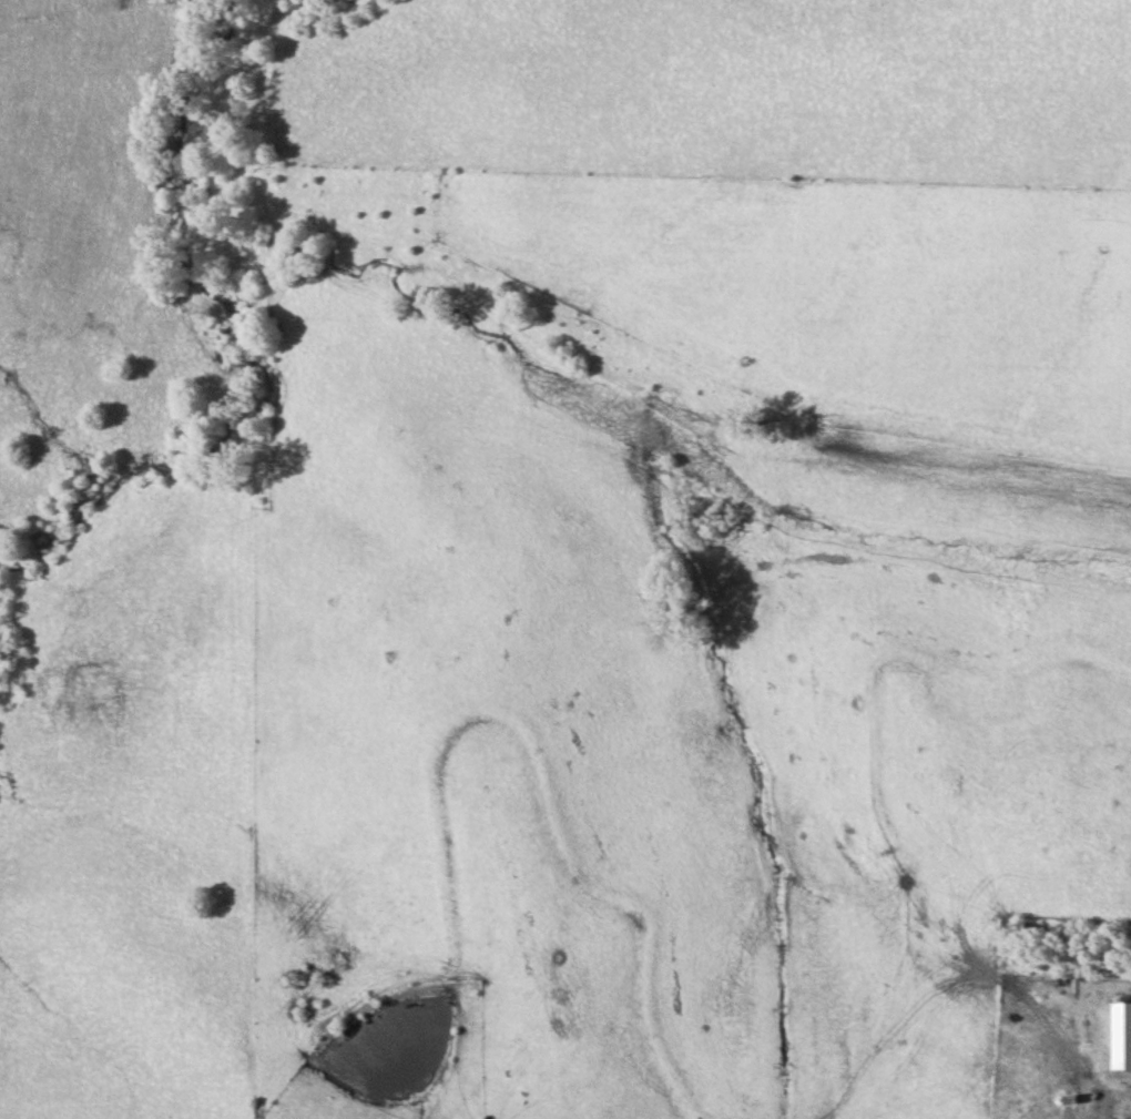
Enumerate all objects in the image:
building: (1123, 1036)

